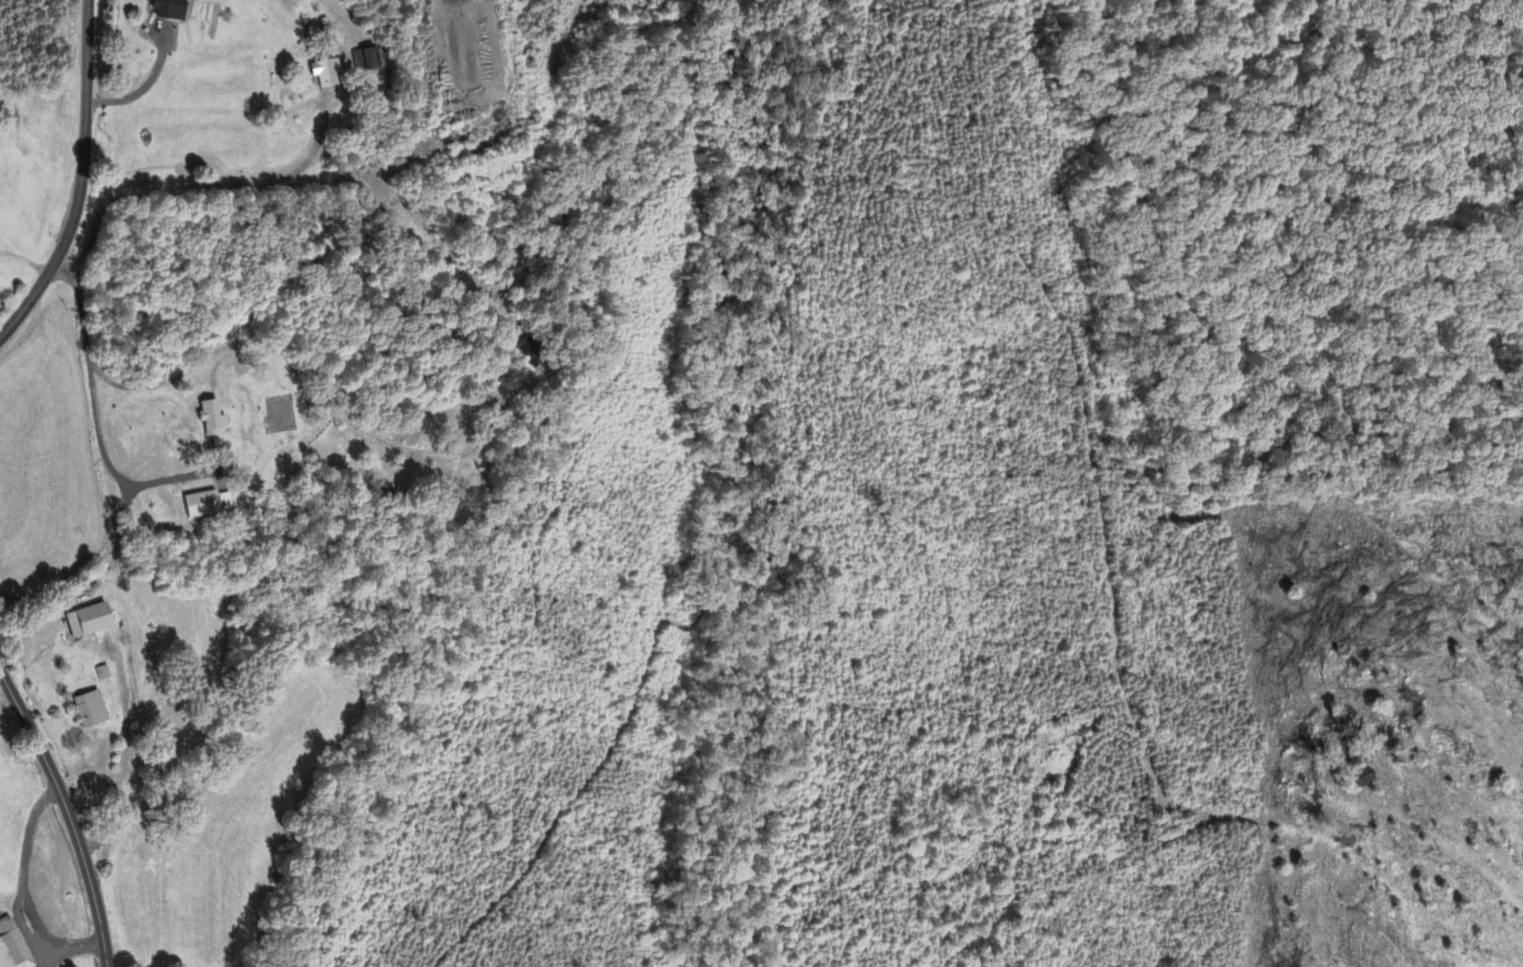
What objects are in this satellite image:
building: (165, 10)
building: (363, 61)
building: (323, 75)
road: (145, 87)
road: (83, 180)
road: (204, 186)
road: (27, 257)
road: (288, 367)
road: (94, 409)
building: (210, 420)
building: (200, 506)
building: (87, 621)
building: (102, 674)
building: (87, 710)
road: (120, 772)
road: (67, 814)
road: (22, 868)
road: (70, 945)
building: (12, 947)

